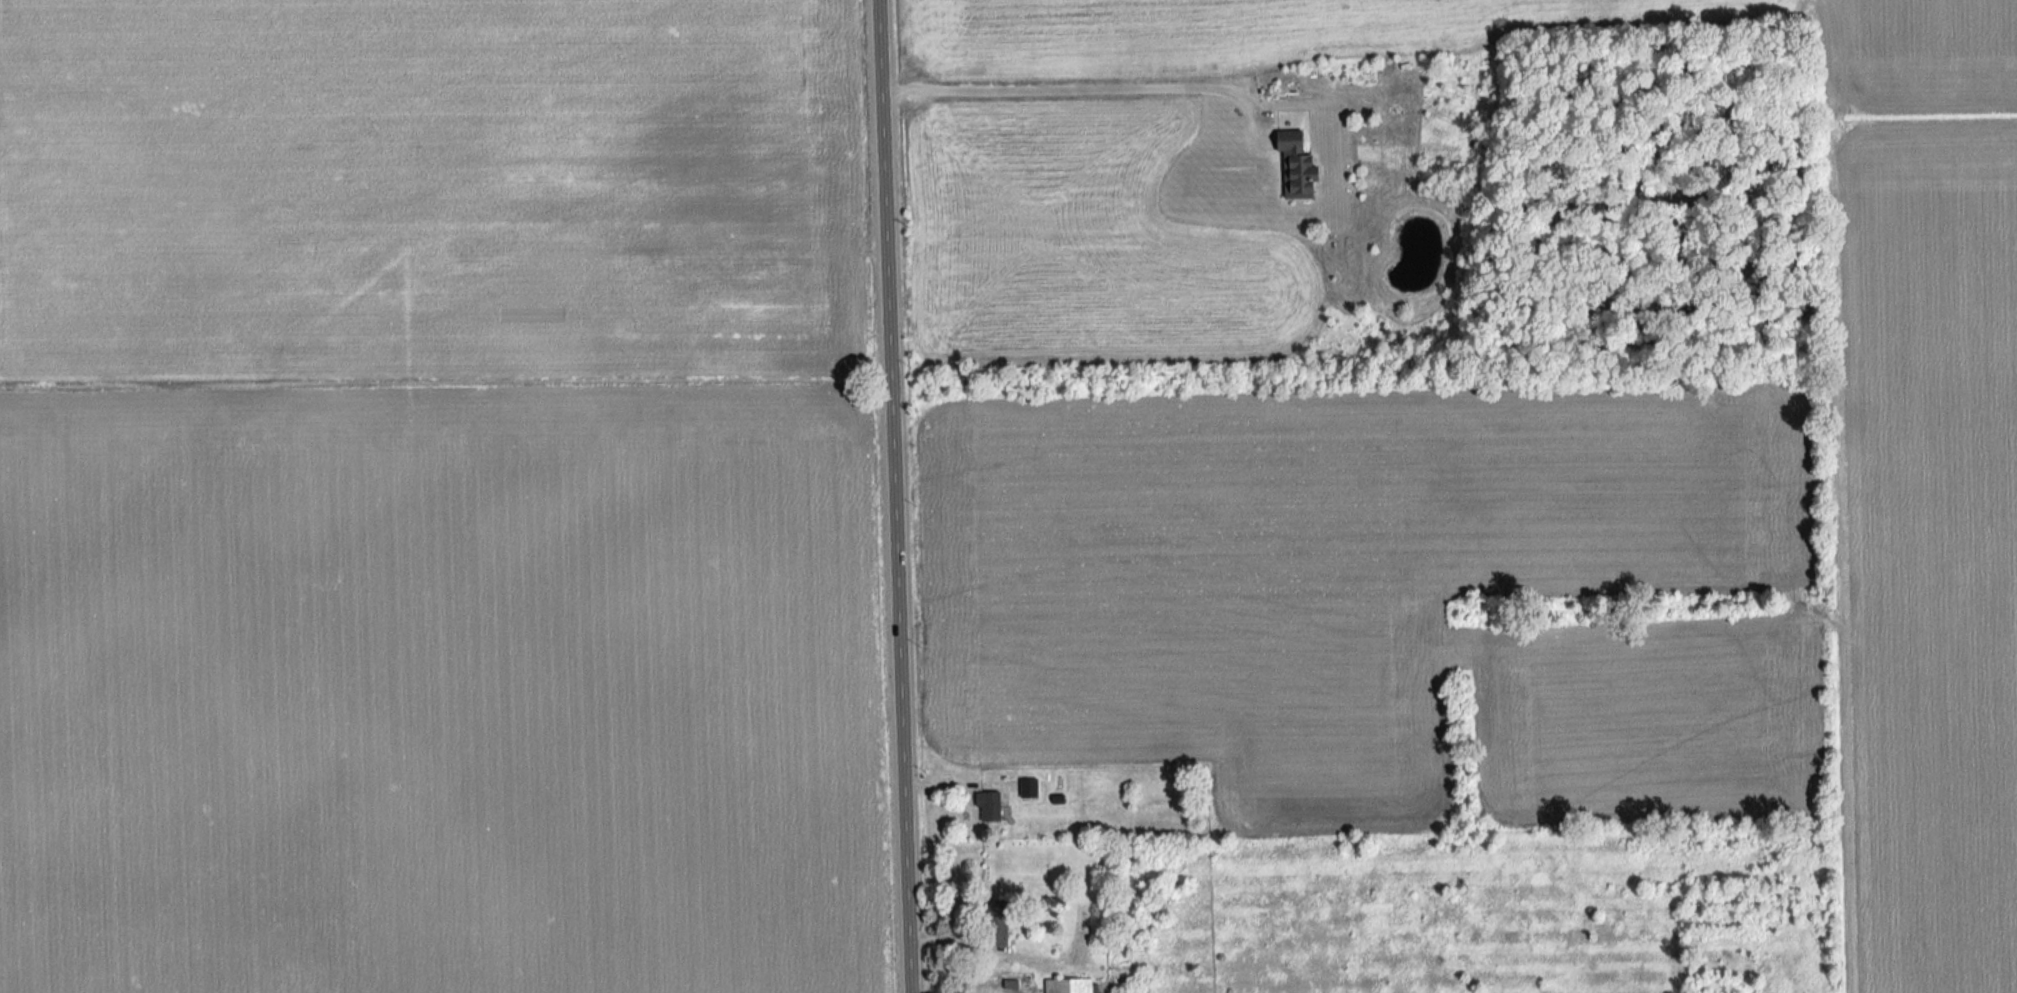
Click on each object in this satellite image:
crop: (1464, 37)
road: (1083, 91)
crop: (433, 186)
crop: (1084, 242)
road: (893, 496)
crop: (1929, 550)
crop: (1374, 595)
crop: (442, 691)
road: (956, 785)
building: (1032, 788)
building: (993, 805)
building: (1073, 986)

